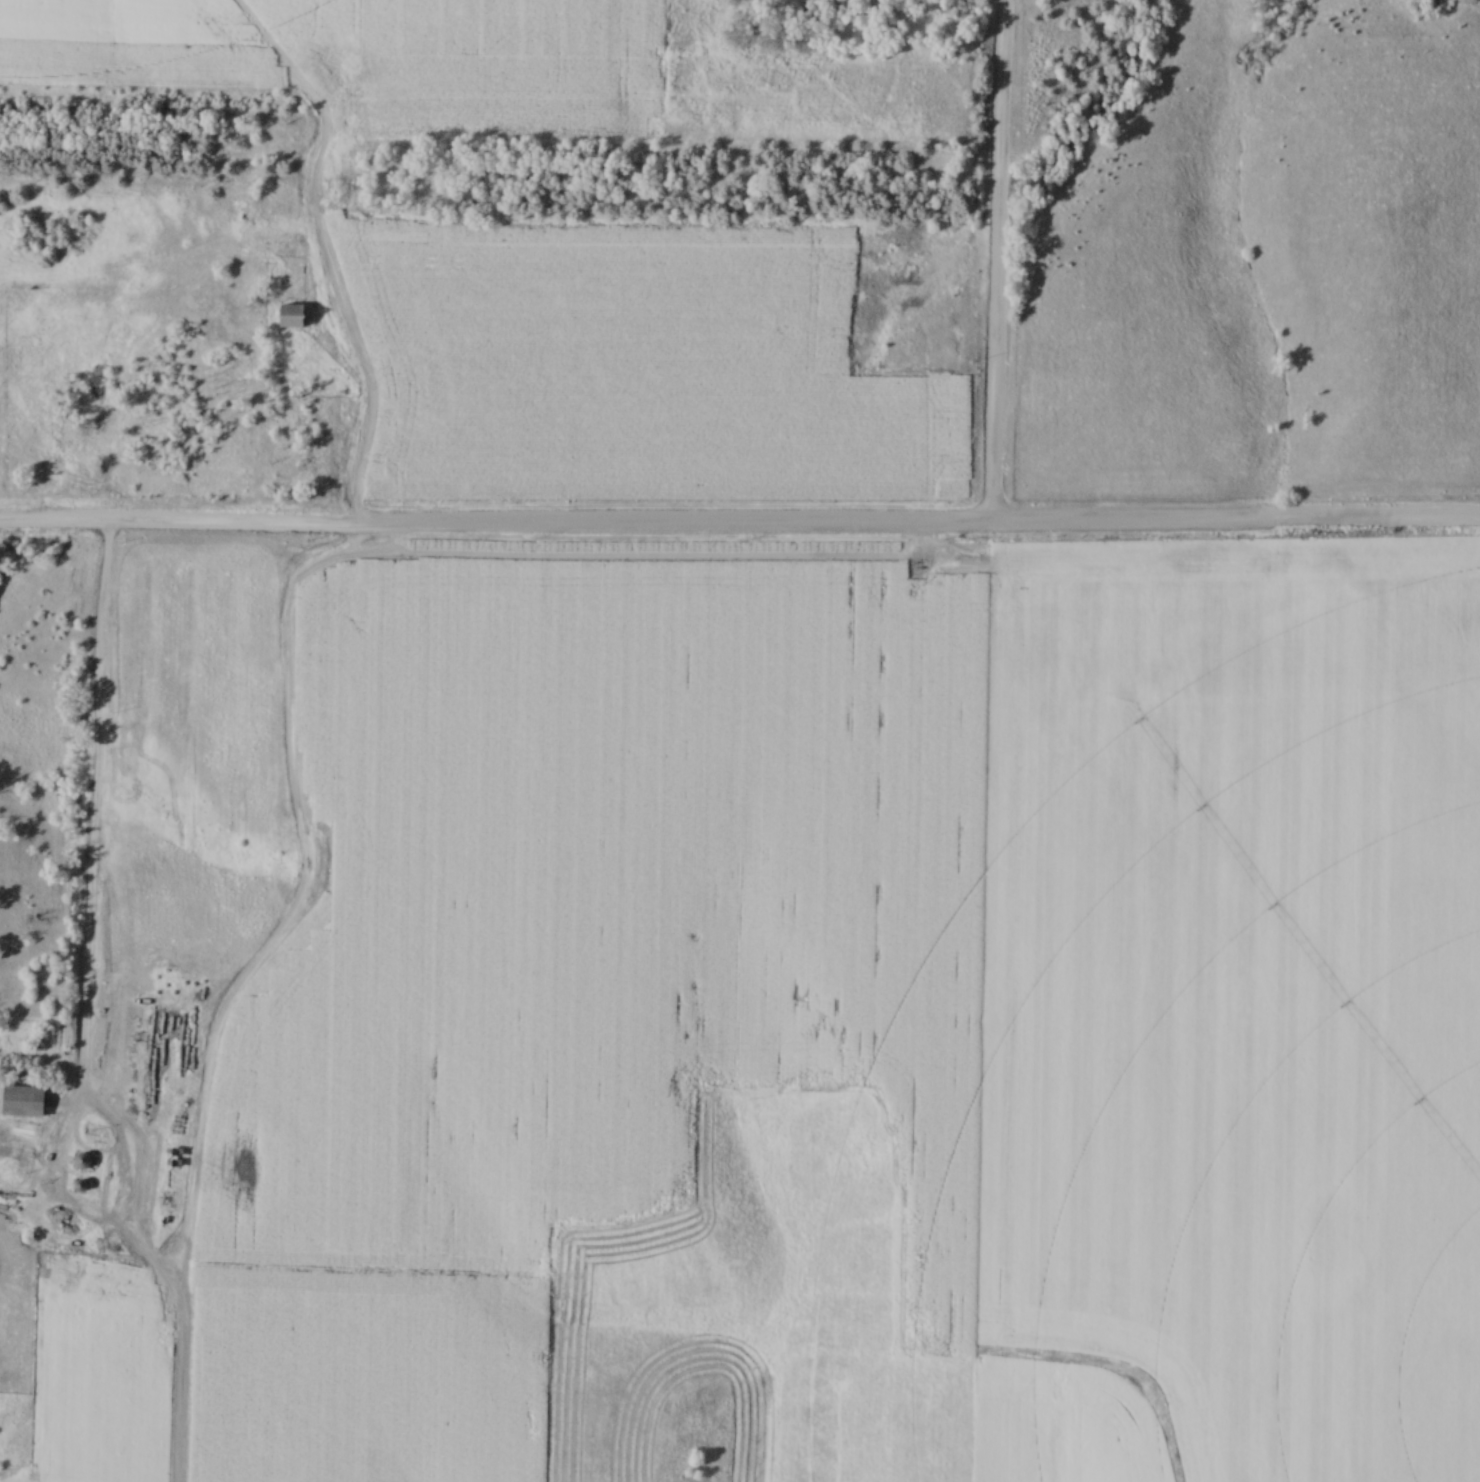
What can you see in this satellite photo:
road: (997, 264)
building: (290, 317)
road: (739, 529)
road: (79, 1014)
building: (21, 1102)

